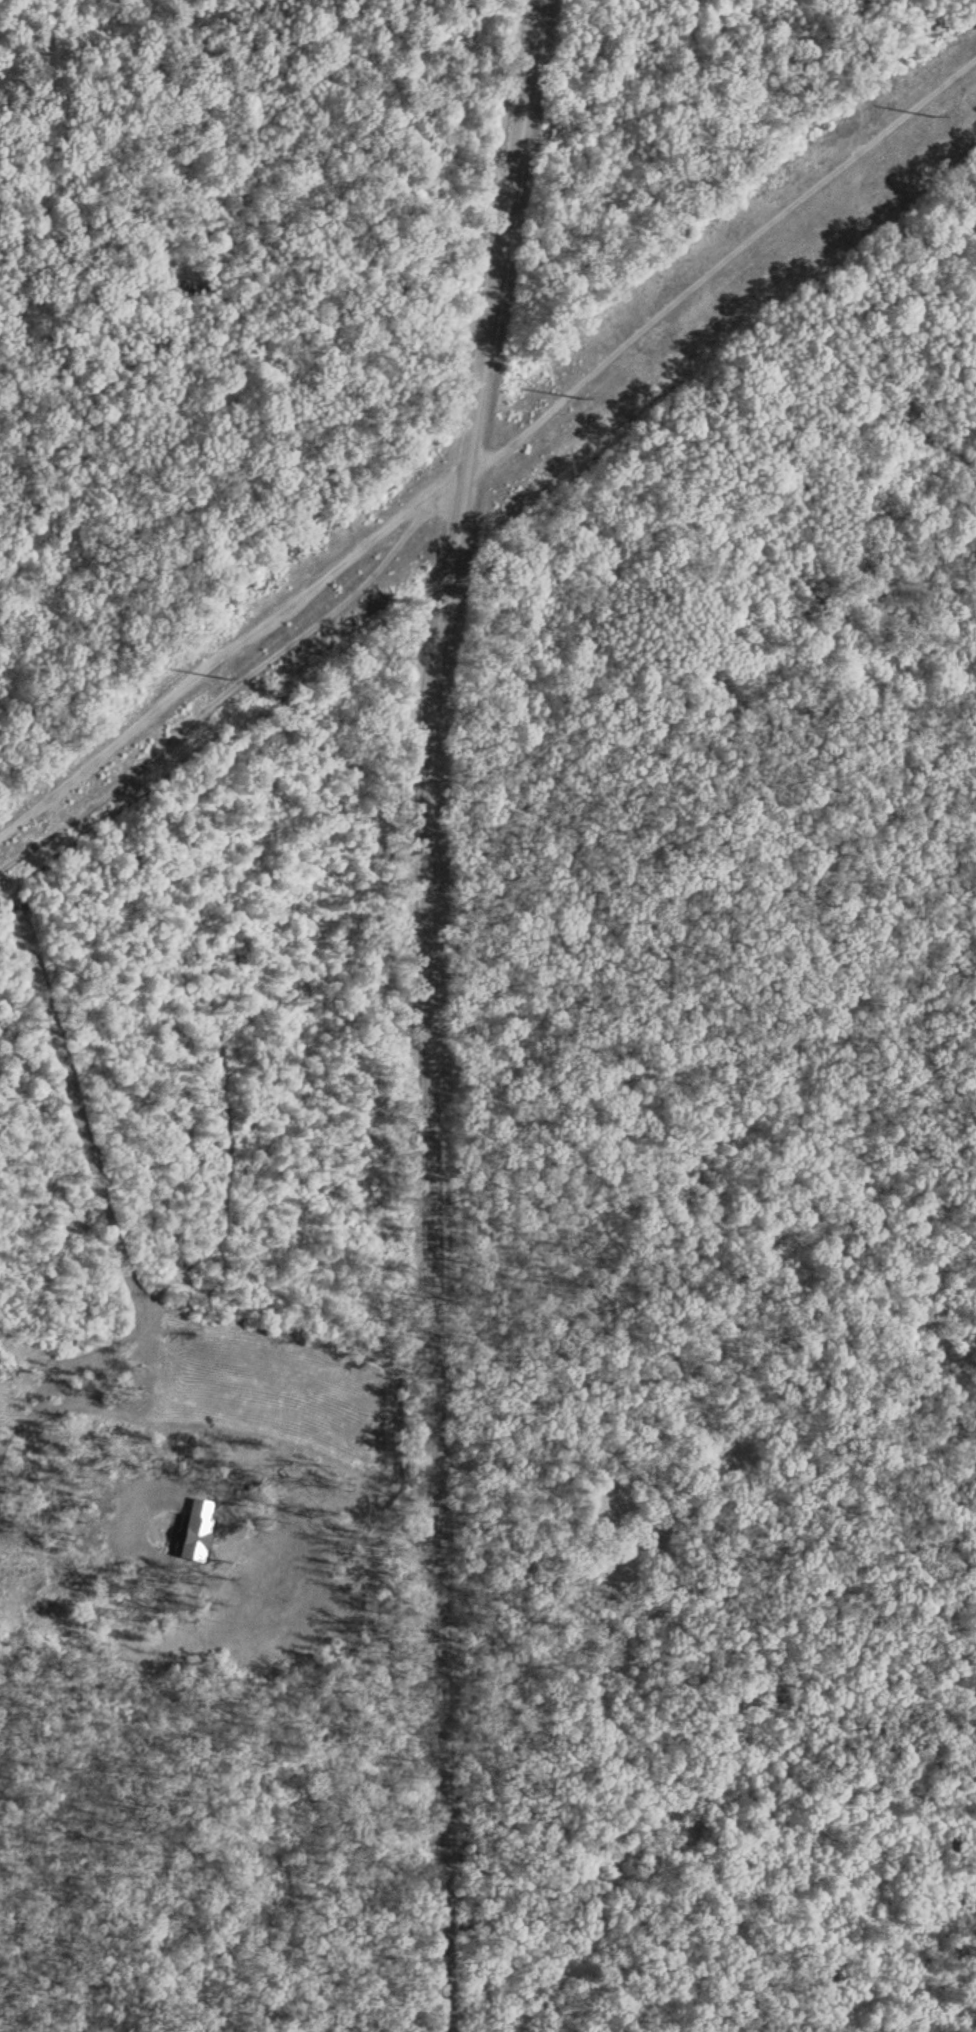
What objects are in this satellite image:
road: (496, 450)
road: (428, 1012)
road: (324, 1501)
building: (197, 1529)

